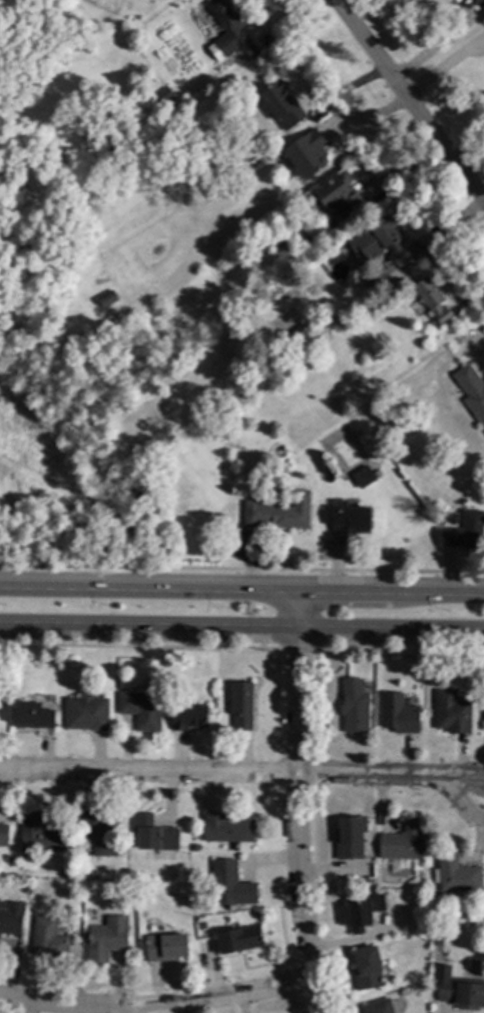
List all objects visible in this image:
building: (54, 0)
building: (476, 2)
building: (228, 30)
building: (93, 40)
road: (444, 69)
road: (409, 102)
building: (282, 105)
building: (307, 153)
building: (259, 165)
building: (12, 172)
building: (339, 199)
building: (390, 241)
building: (108, 299)
building: (432, 300)
building: (430, 326)
building: (297, 334)
building: (472, 391)
building: (378, 473)
building: (363, 477)
building: (135, 492)
building: (279, 513)
building: (349, 517)
building: (220, 519)
building: (453, 519)
building: (465, 532)
road: (242, 588)
road: (241, 633)
building: (243, 706)
building: (356, 707)
building: (143, 710)
building: (87, 713)
building: (453, 713)
building: (33, 715)
building: (400, 715)
building: (190, 718)
road: (292, 772)
road: (217, 775)
road: (440, 780)
building: (228, 829)
building: (101, 833)
building: (154, 834)
building: (3, 835)
building: (39, 835)
building: (352, 840)
building: (405, 843)
building: (9, 860)
building: (458, 875)
building: (231, 885)
building: (363, 911)
building: (11, 917)
building: (108, 940)
building: (241, 940)
building: (49, 941)
building: (167, 948)
building: (439, 962)
building: (369, 968)
road: (316, 984)
building: (462, 993)
road: (158, 1002)
road: (140, 1007)
building: (380, 1007)

